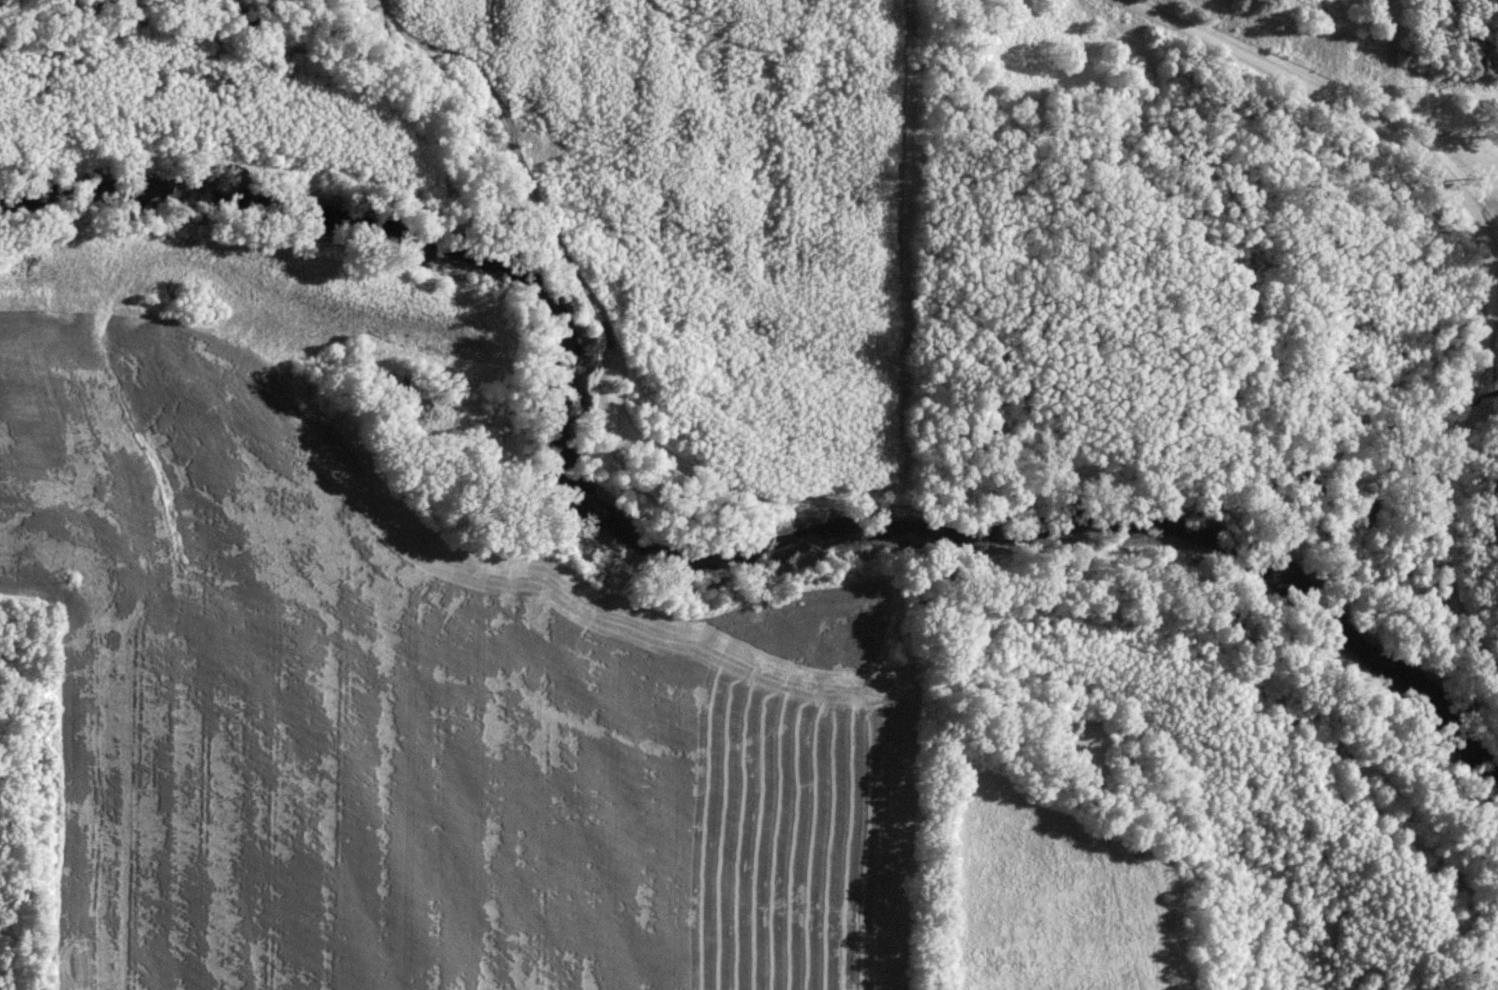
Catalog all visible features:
road: (1453, 149)
road: (1478, 240)
road: (1495, 943)
road: (1462, 967)

